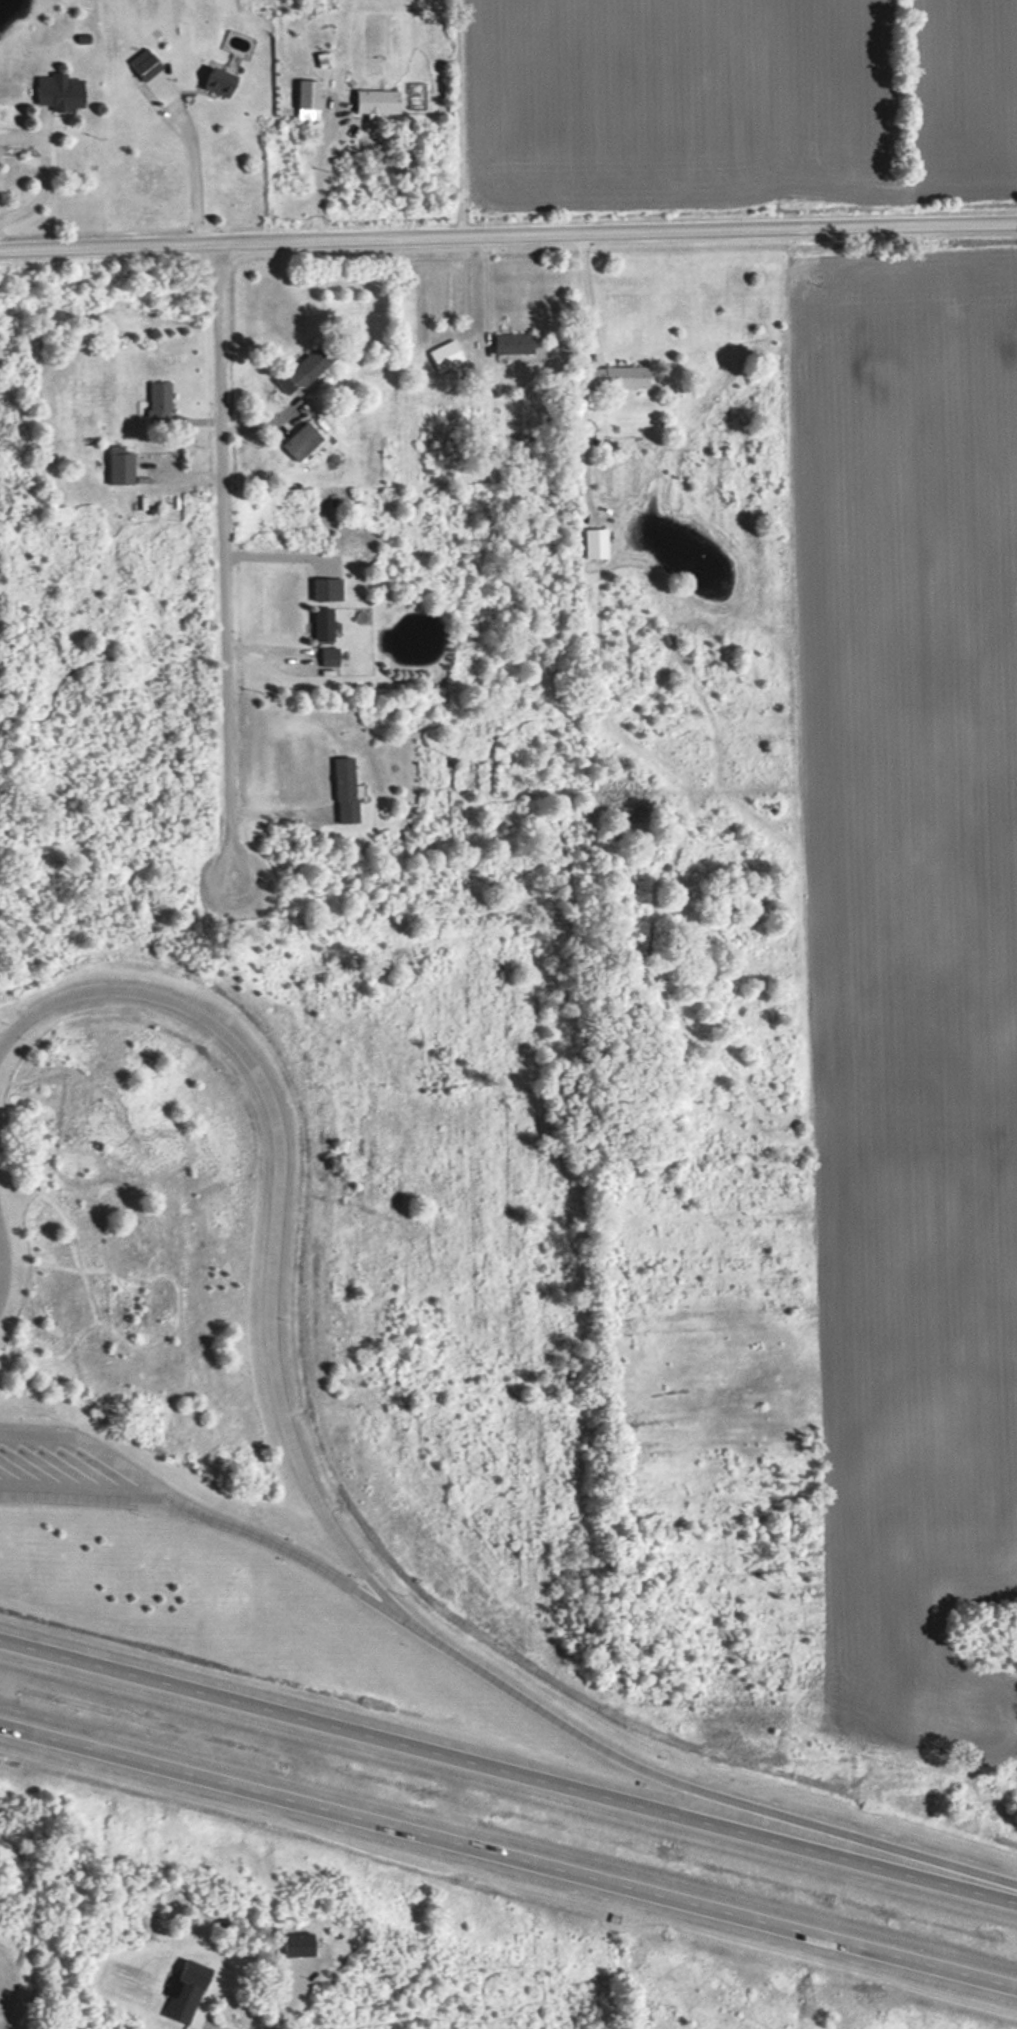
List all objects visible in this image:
building: (137, 65)
building: (208, 80)
building: (50, 92)
building: (369, 102)
road: (192, 162)
road: (317, 170)
road: (508, 227)
road: (589, 284)
building: (506, 343)
building: (440, 355)
building: (298, 368)
building: (612, 376)
building: (152, 402)
building: (294, 441)
building: (113, 467)
building: (590, 543)
road: (220, 558)
building: (317, 625)
building: (340, 790)
parking lot: (4, 1044)
road: (272, 1212)
parking lot: (2, 1236)
road: (38, 1419)
parking lot: (72, 1471)
road: (89, 1495)
road: (204, 1513)
road: (507, 1770)
road: (695, 1787)
road: (508, 1854)
building: (289, 1945)
building: (178, 1992)
road: (281, 1999)

